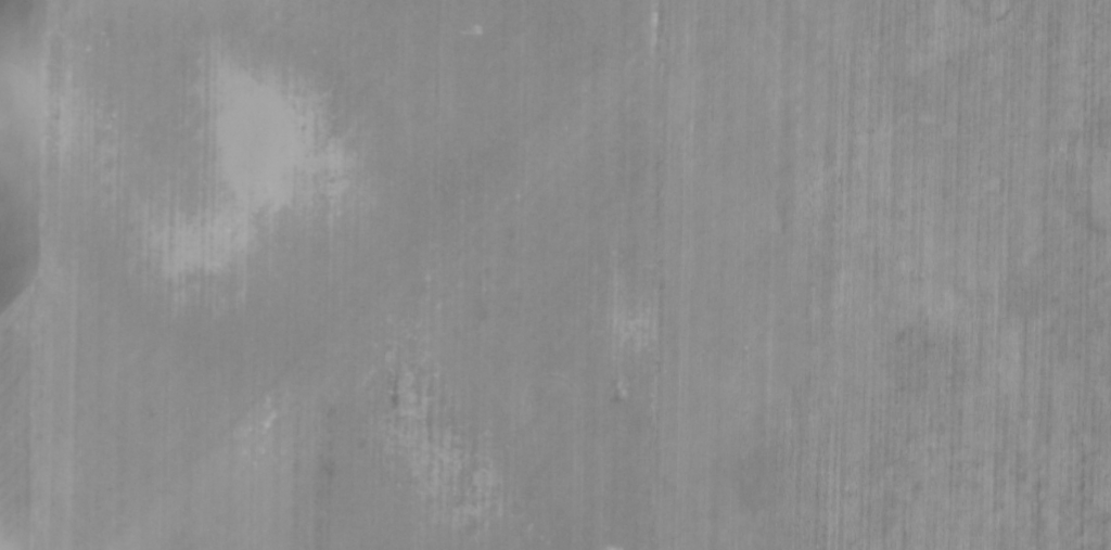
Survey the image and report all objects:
crop: (555, 274)

